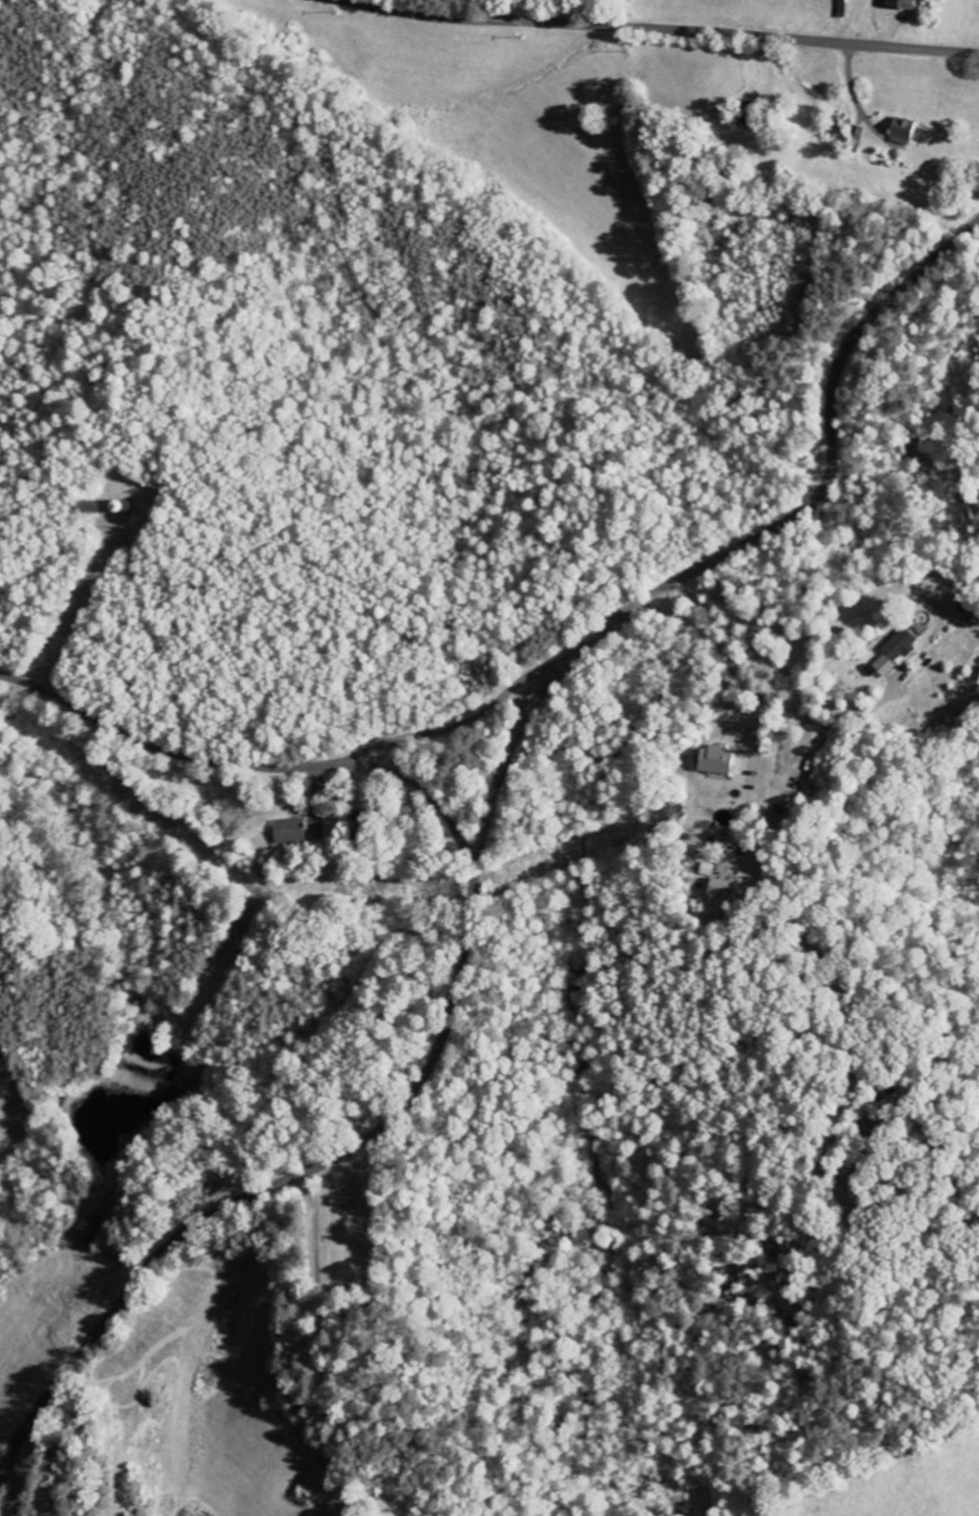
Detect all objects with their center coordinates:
building: (900, 3)
road: (658, 30)
building: (901, 131)
road: (825, 479)
building: (900, 645)
building: (881, 667)
road: (741, 668)
road: (783, 674)
building: (715, 761)
road: (285, 767)
building: (290, 832)
building: (722, 890)
road: (373, 1133)

